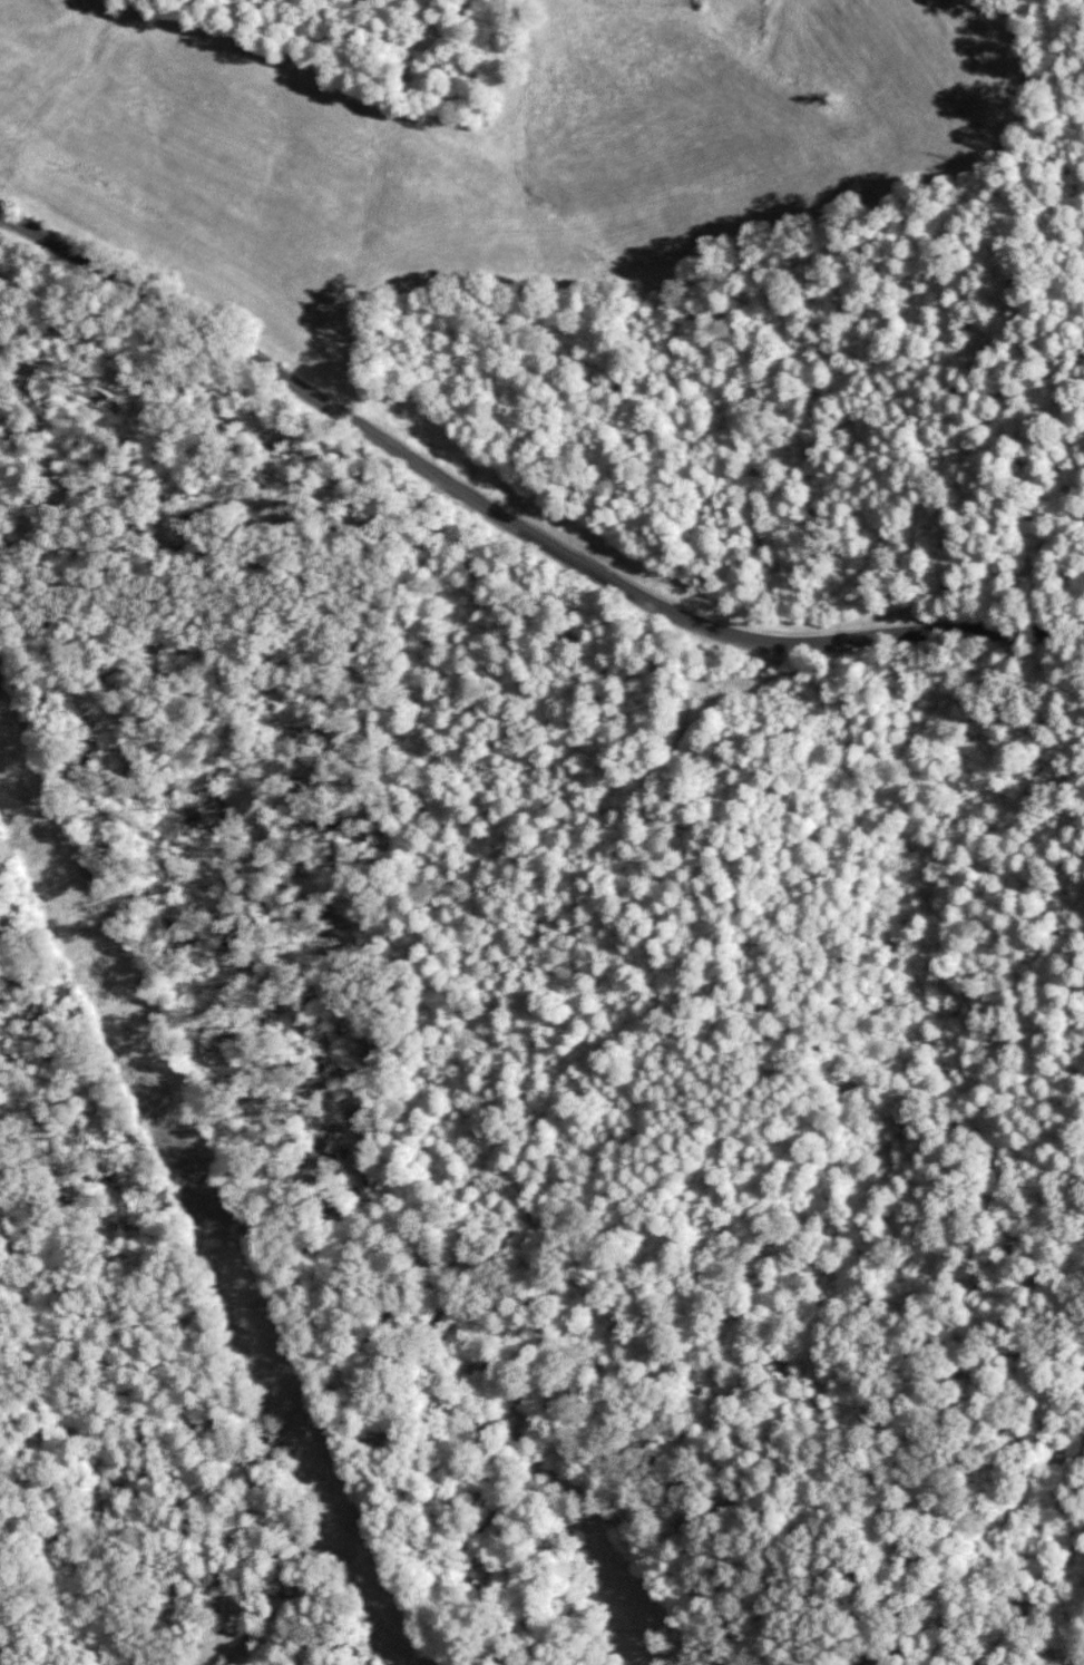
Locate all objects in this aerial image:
building: (551, 62)
road: (514, 524)

